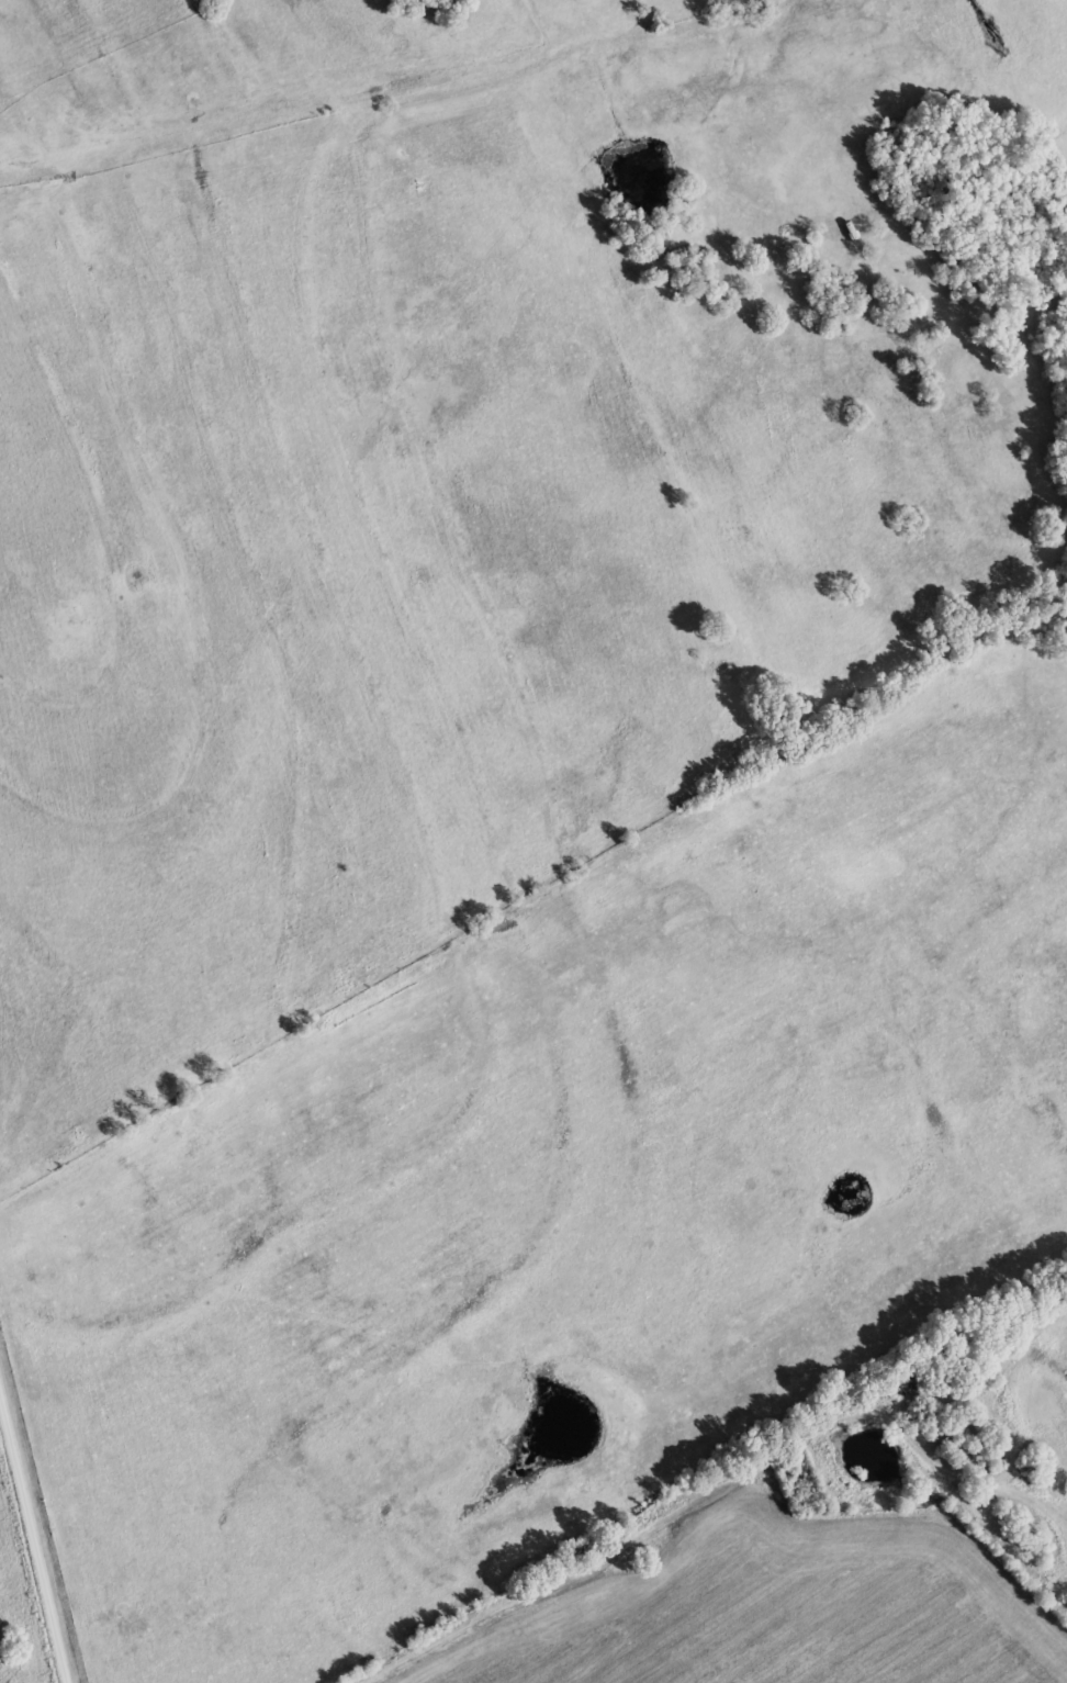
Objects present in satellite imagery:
road: (762, 1452)
road: (36, 1536)
road: (25, 1605)

